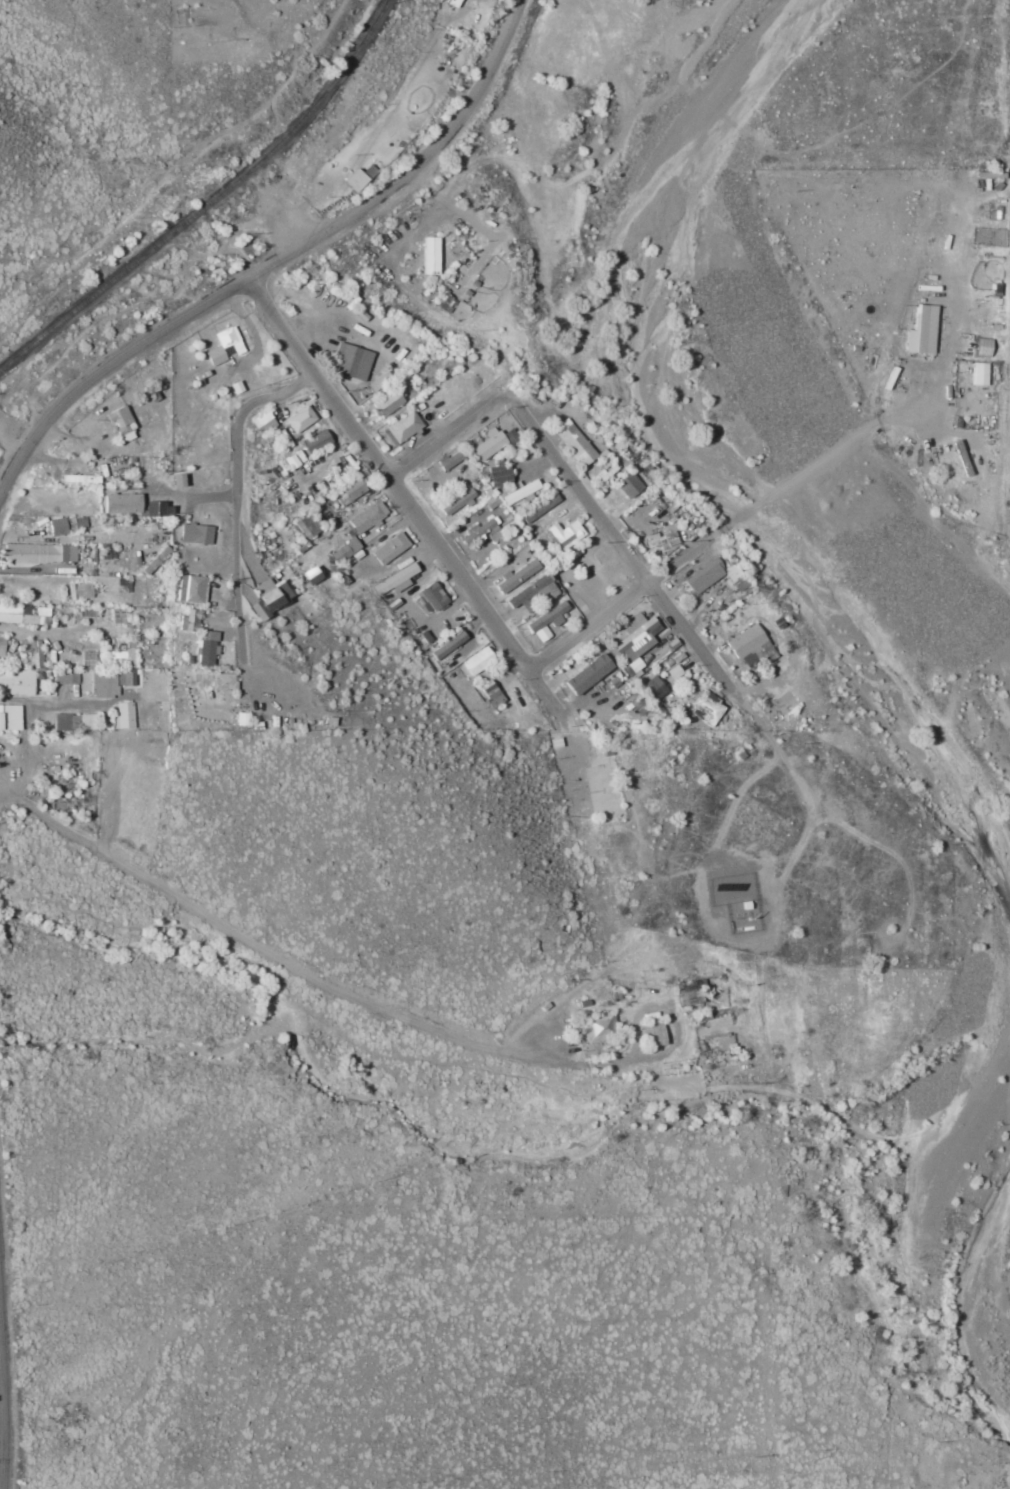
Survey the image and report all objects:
building: (354, 180)
railway: (210, 200)
building: (1007, 214)
building: (429, 256)
road: (277, 264)
building: (921, 331)
building: (224, 346)
building: (982, 347)
building: (351, 362)
building: (979, 374)
building: (379, 381)
building: (388, 403)
building: (299, 419)
building: (121, 422)
building: (262, 423)
building: (401, 428)
building: (316, 441)
building: (573, 442)
building: (492, 443)
building: (448, 460)
building: (498, 475)
river: (703, 477)
road: (575, 481)
building: (628, 486)
building: (516, 491)
road: (401, 498)
building: (491, 502)
road: (241, 503)
building: (119, 504)
building: (541, 509)
building: (156, 510)
building: (367, 518)
building: (65, 526)
building: (308, 526)
building: (487, 531)
building: (195, 534)
building: (565, 534)
building: (662, 541)
building: (390, 549)
building: (38, 554)
building: (259, 573)
building: (311, 576)
building: (514, 577)
building: (714, 577)
building: (396, 578)
building: (188, 589)
building: (79, 591)
building: (531, 594)
building: (432, 596)
building: (268, 598)
road: (619, 605)
building: (23, 615)
building: (117, 616)
building: (186, 621)
building: (546, 622)
building: (635, 637)
building: (448, 646)
building: (748, 647)
building: (1, 649)
building: (203, 649)
building: (32, 652)
building: (88, 659)
building: (477, 661)
building: (126, 663)
building: (632, 668)
building: (673, 673)
building: (587, 674)
building: (67, 677)
building: (16, 682)
building: (219, 683)
building: (653, 688)
building: (491, 693)
building: (638, 706)
building: (704, 709)
road: (16, 715)
building: (123, 716)
building: (162, 717)
building: (9, 718)
building: (237, 720)
building: (73, 722)
building: (600, 1027)
building: (653, 1033)
river: (955, 1283)
road: (9, 1332)

